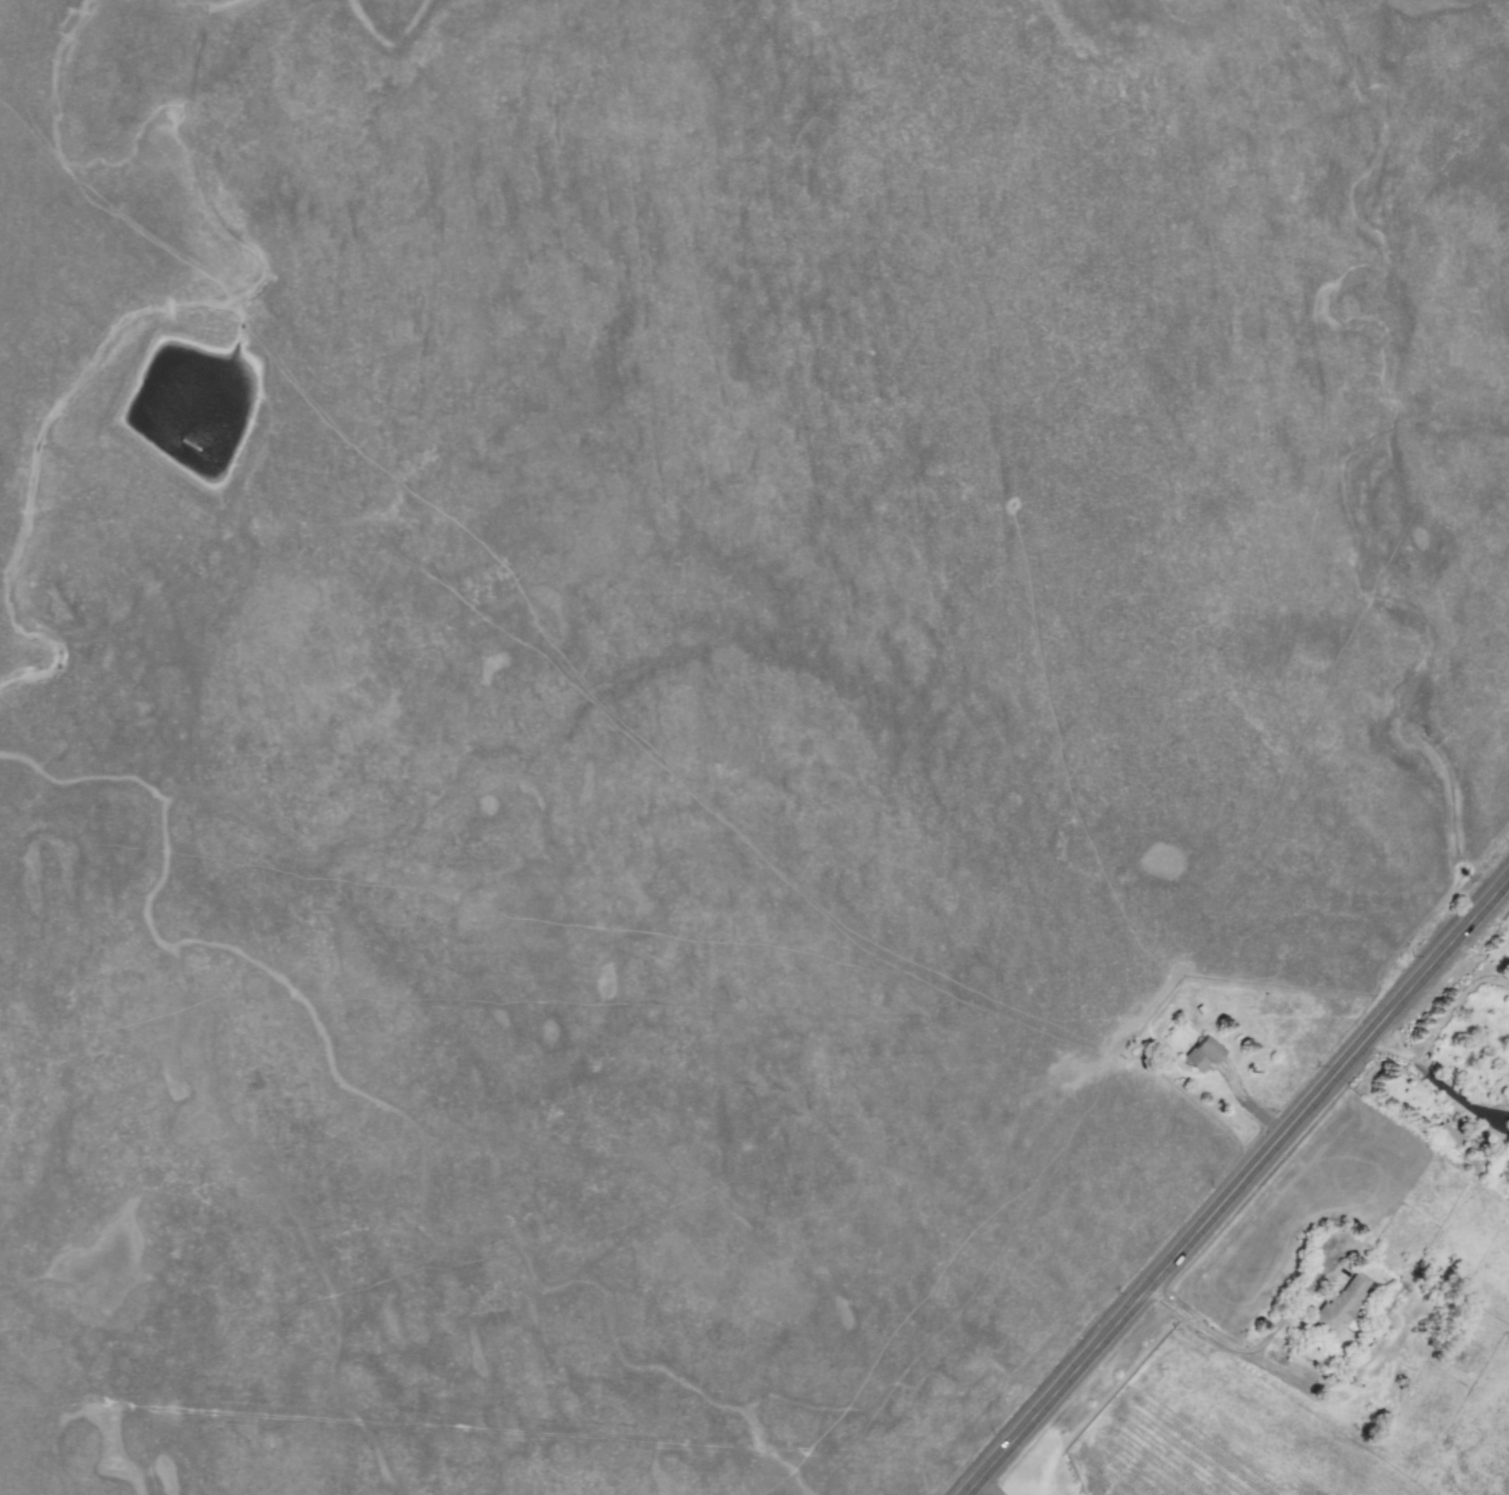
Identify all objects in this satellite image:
road: (1451, 1004)
building: (1202, 1055)
road: (1440, 1087)
building: (1447, 1135)
road: (1238, 1193)
building: (1342, 1303)
road: (1250, 1347)
road: (985, 1487)

